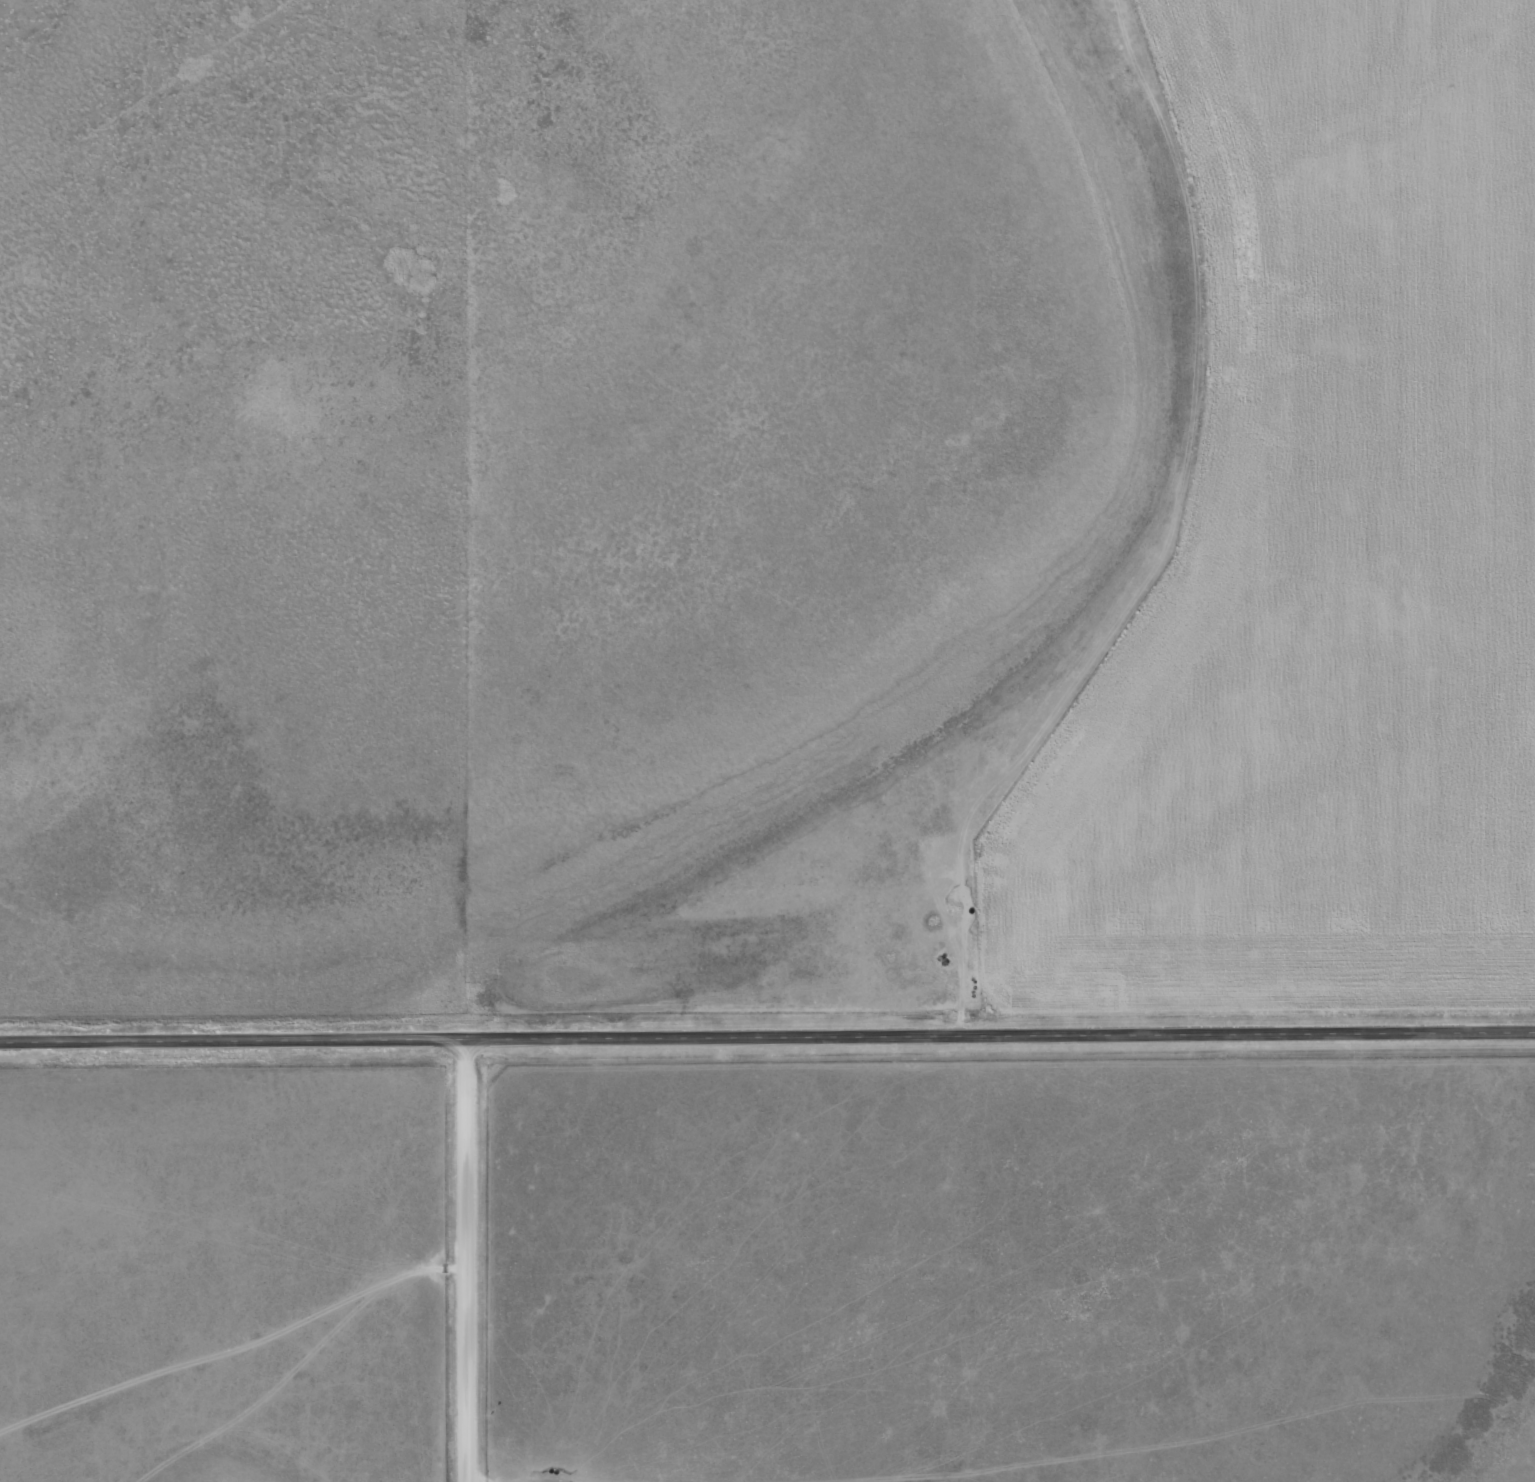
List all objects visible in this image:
road: (767, 1038)
road: (471, 1261)

